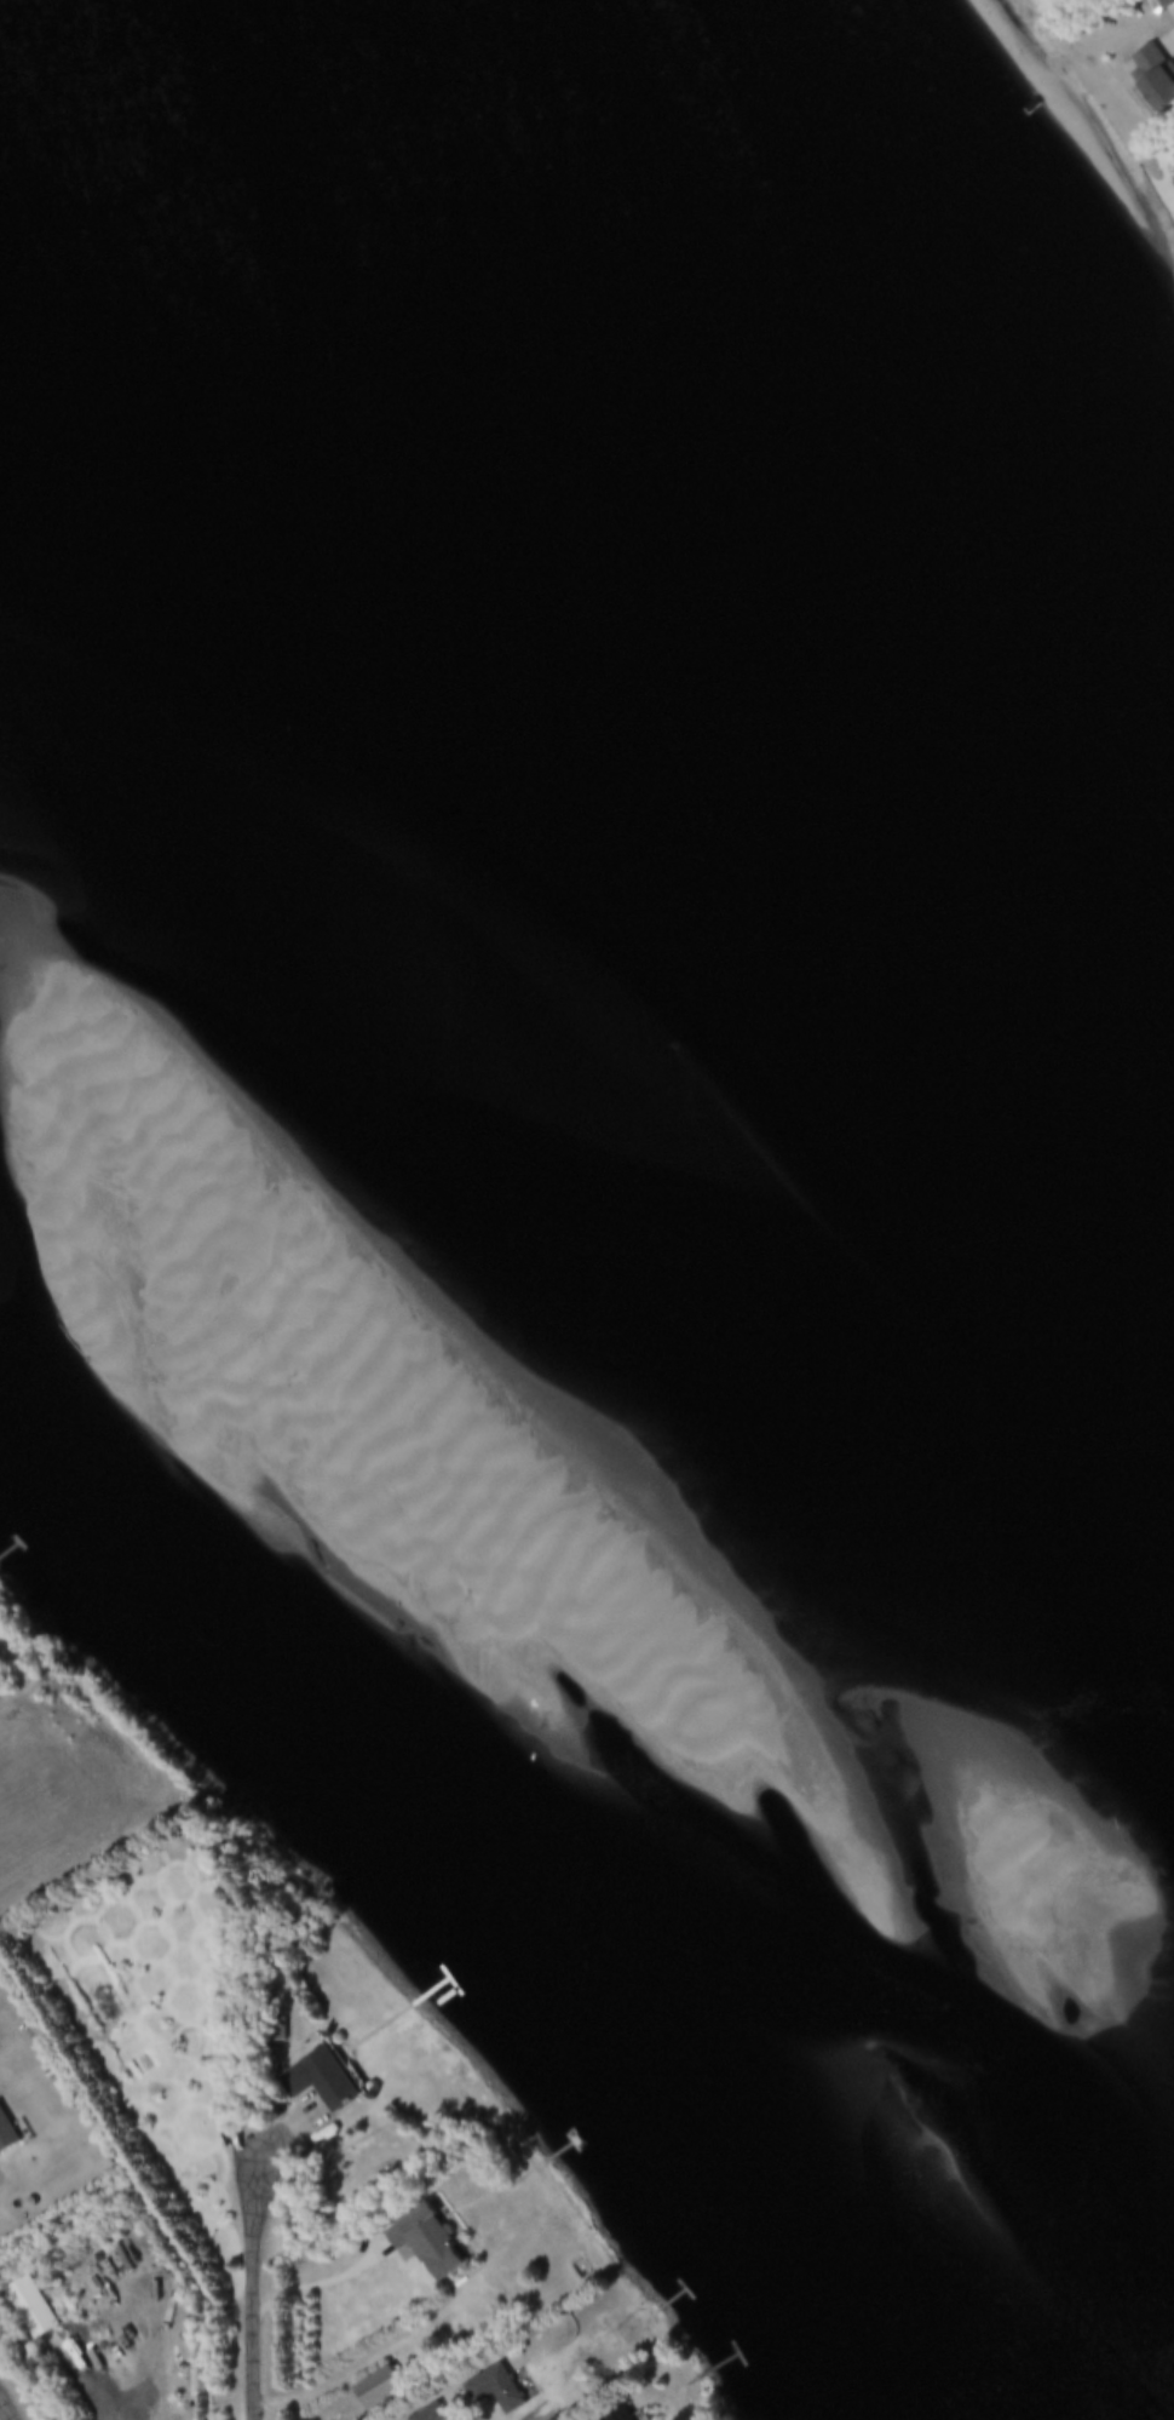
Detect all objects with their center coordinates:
building: (1167, 4)
road: (1172, 41)
building: (1157, 76)
river: (549, 1151)
building: (323, 2082)
building: (6, 2137)
building: (99, 2162)
building: (421, 2244)
road: (322, 2286)
road: (252, 2287)
building: (27, 2310)
road: (115, 2346)
road: (340, 2382)
building: (374, 2391)
building: (491, 2391)
road: (2, 2415)

